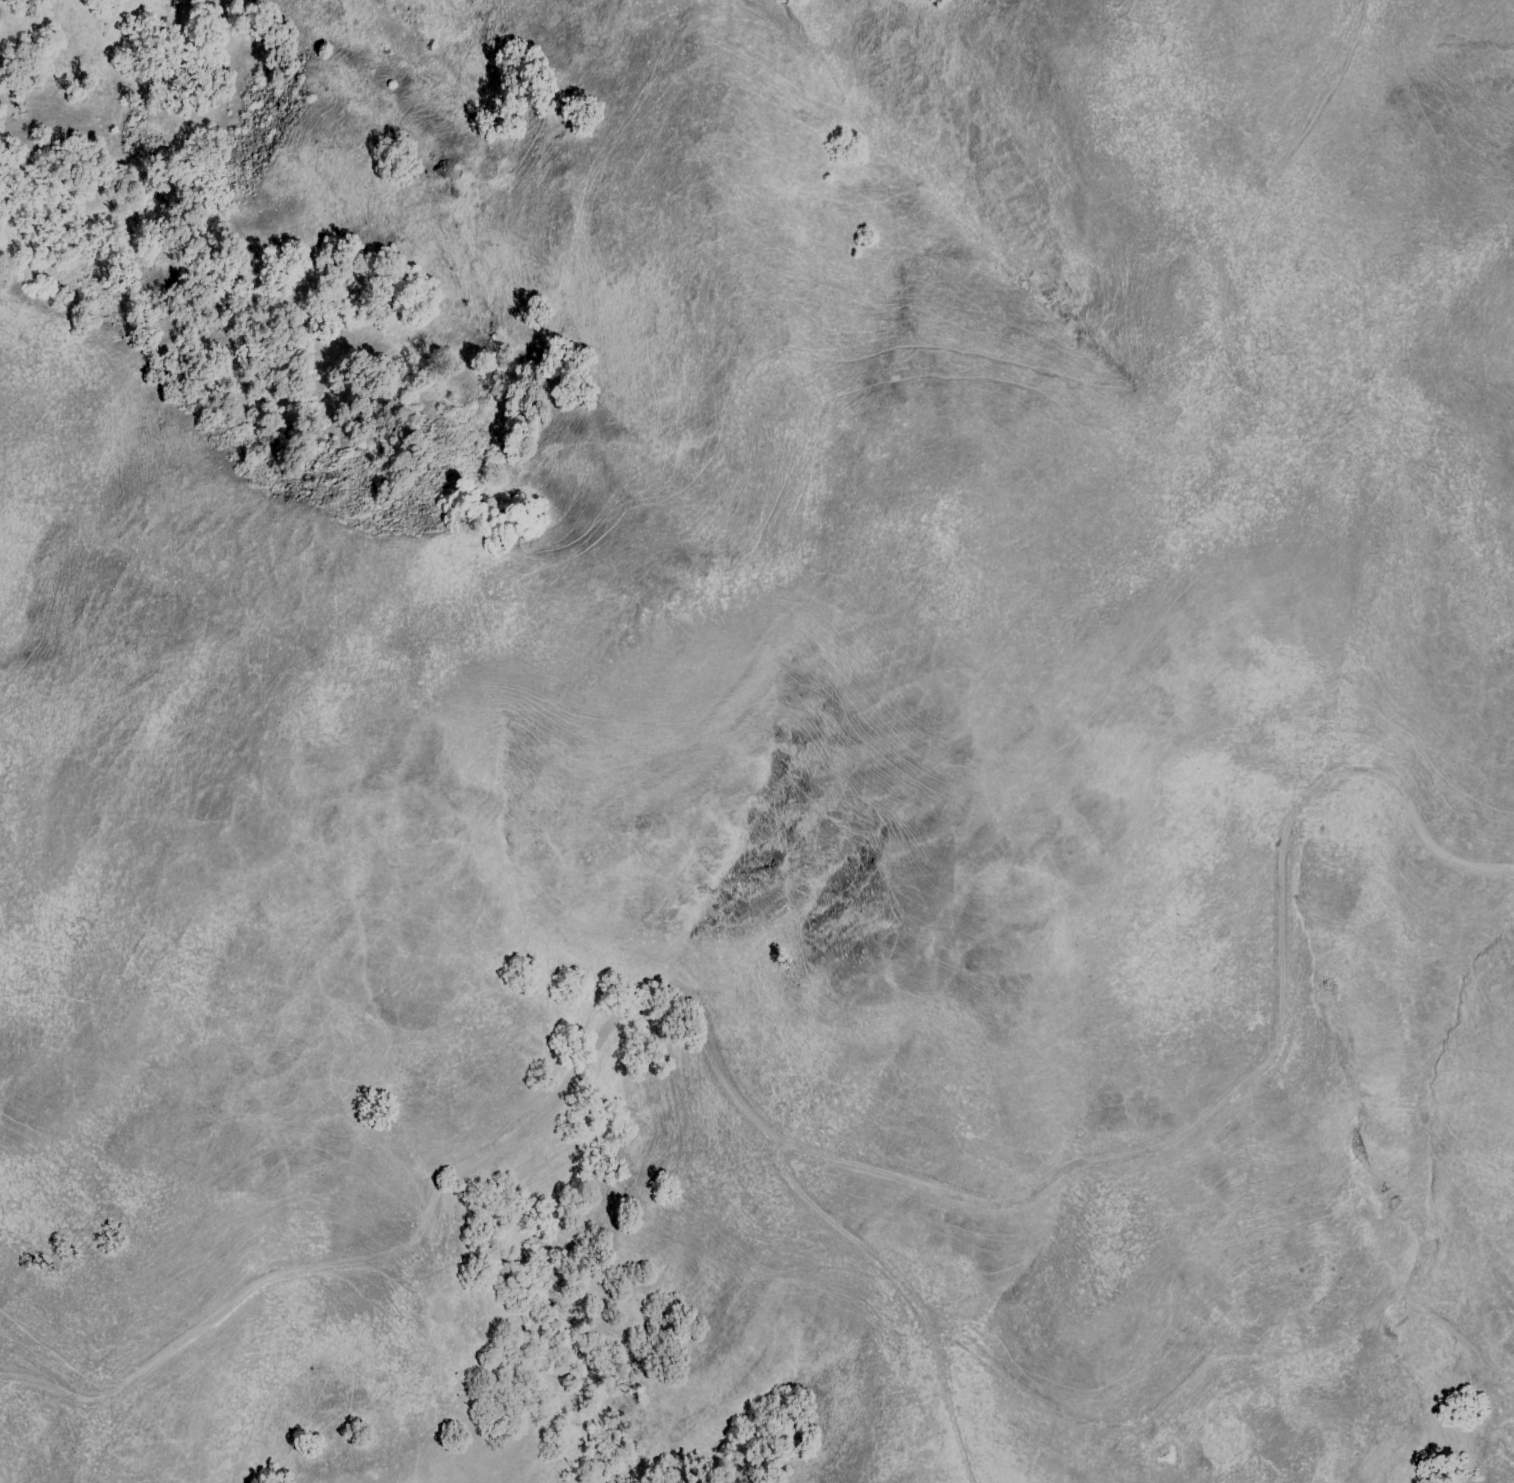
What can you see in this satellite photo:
road: (796, 1147)

